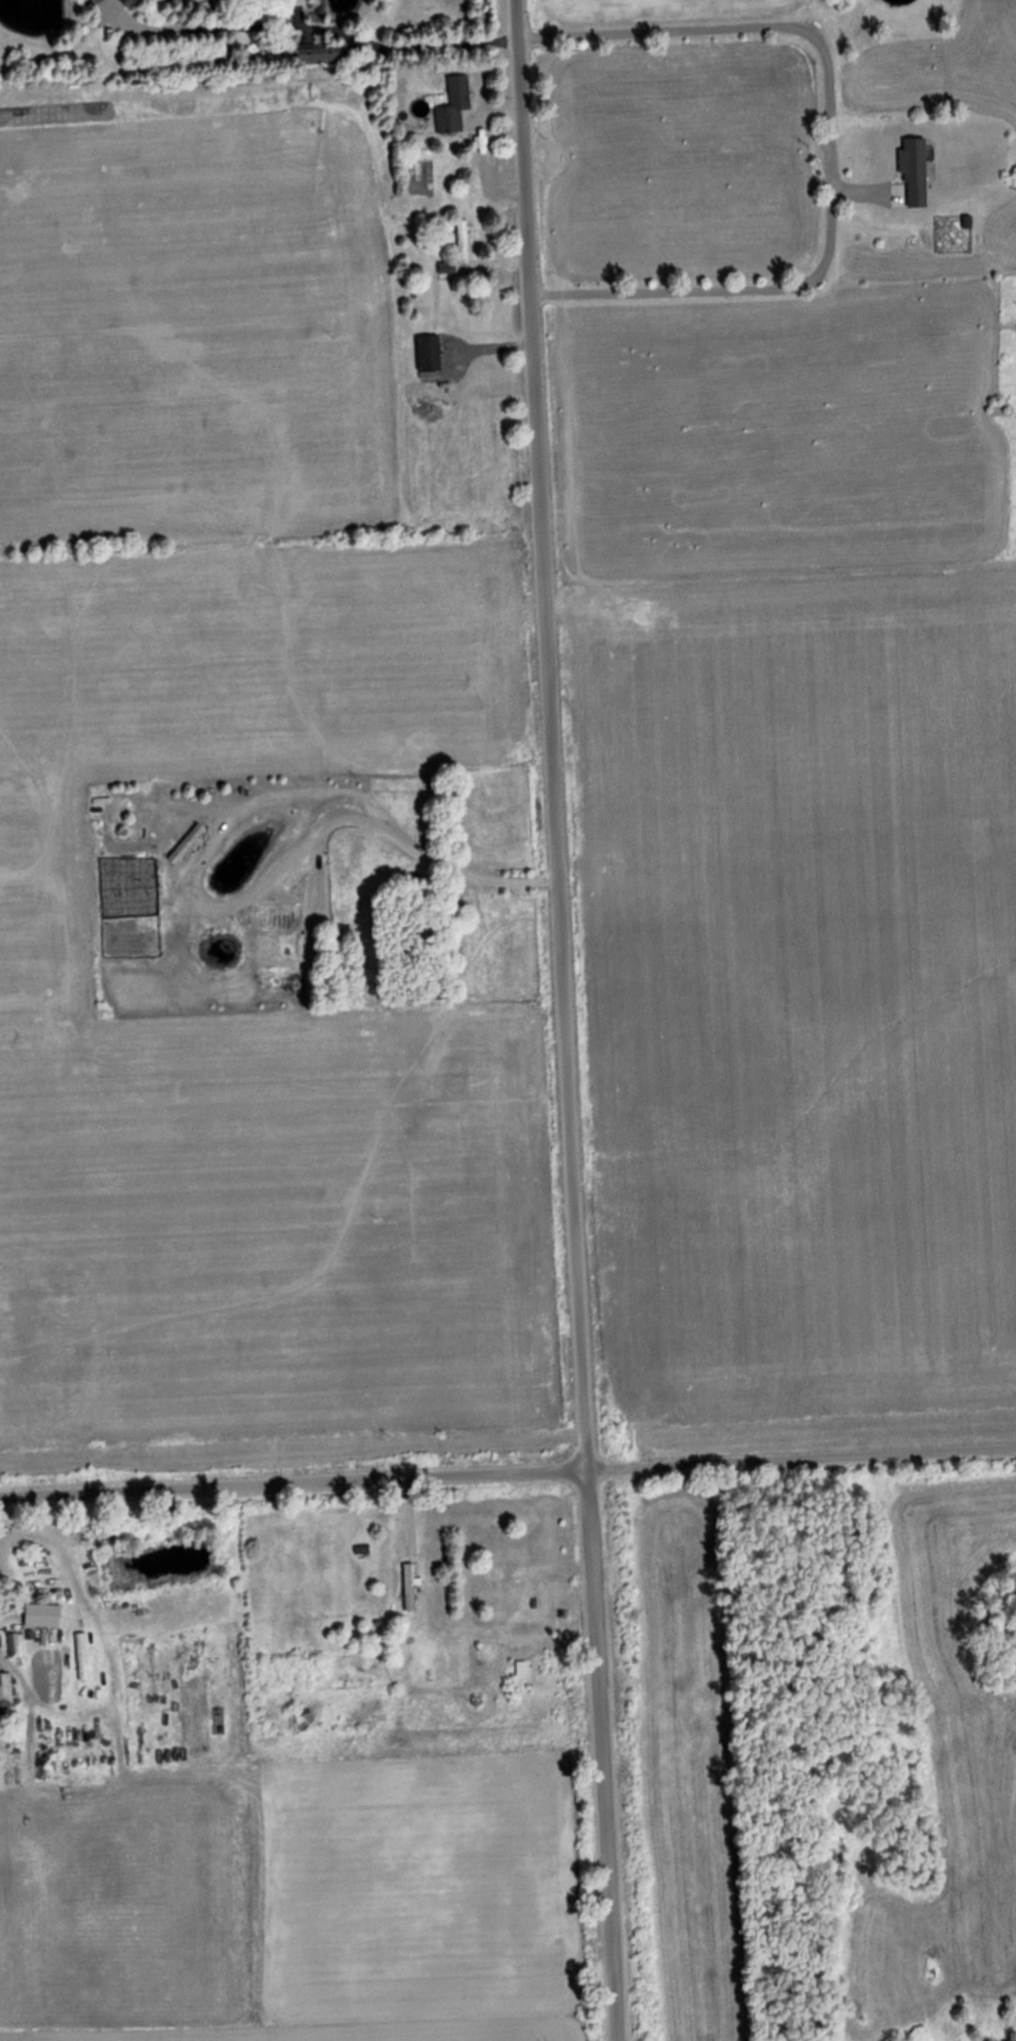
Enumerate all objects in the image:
building: (321, 55)
building: (455, 106)
building: (915, 161)
building: (464, 242)
building: (446, 268)
building: (429, 354)
building: (336, 939)
road: (558, 1020)
road: (507, 1475)
building: (509, 1582)
building: (410, 1588)
building: (14, 1645)
building: (6, 1686)

